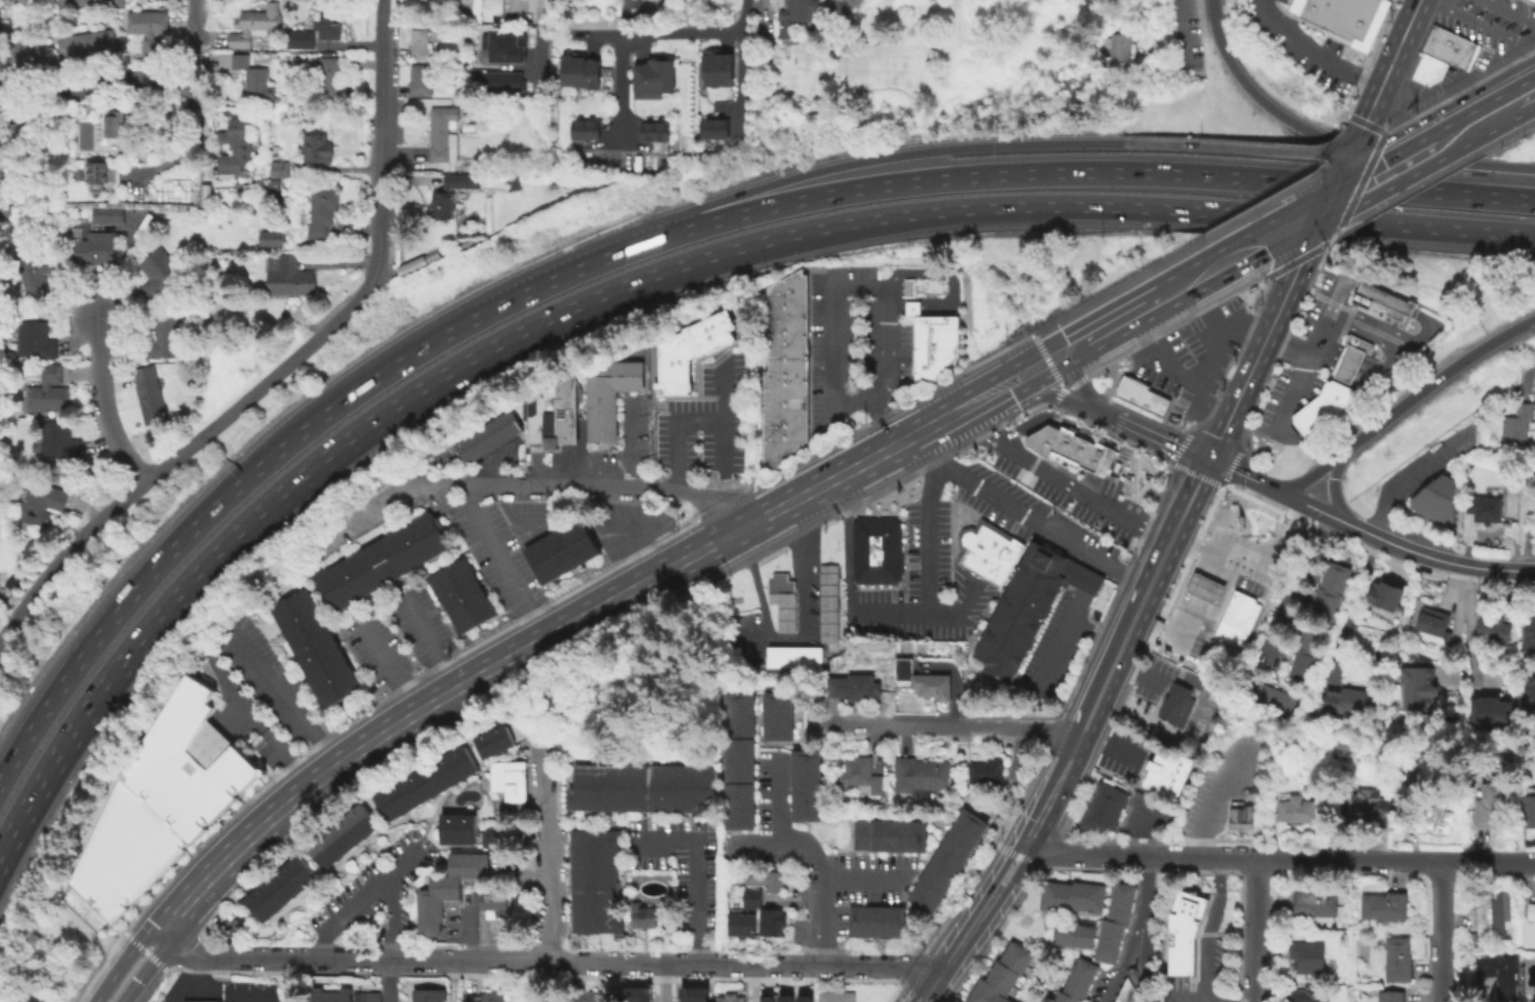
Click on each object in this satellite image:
building: (19, 0)
building: (1532, 1)
building: (89, 3)
road: (1294, 6)
road: (527, 9)
building: (631, 9)
road: (1508, 12)
building: (795, 14)
building: (1345, 18)
road: (1288, 20)
building: (329, 22)
building: (253, 24)
road: (1185, 26)
building: (150, 29)
road: (1488, 29)
road: (670, 31)
building: (467, 35)
road: (542, 39)
road: (192, 40)
building: (420, 42)
building: (88, 43)
building: (303, 43)
building: (1447, 46)
building: (509, 48)
building: (1121, 48)
road: (1313, 54)
building: (27, 58)
road: (1392, 61)
building: (718, 65)
building: (1422, 67)
parking lot: (1483, 67)
building: (580, 68)
building: (466, 69)
building: (1435, 70)
building: (654, 76)
road: (739, 76)
building: (329, 79)
building: (255, 80)
building: (421, 80)
road: (127, 81)
building: (509, 83)
road: (619, 86)
road: (1525, 99)
building: (116, 124)
road: (1479, 124)
building: (586, 127)
building: (716, 127)
building: (656, 129)
building: (443, 132)
road: (380, 138)
road: (1357, 141)
road: (1334, 142)
road: (1235, 146)
building: (238, 148)
building: (319, 148)
road: (1423, 154)
road: (864, 158)
traffic signals: (1349, 158)
road: (1376, 161)
building: (282, 170)
road: (1075, 171)
building: (95, 175)
building: (556, 181)
road: (1337, 182)
building: (518, 183)
road: (1364, 186)
building: (276, 187)
building: (453, 194)
road: (1021, 206)
traffic signals: (1326, 207)
building: (325, 210)
building: (0, 211)
building: (110, 216)
building: (305, 217)
road: (1294, 225)
road: (1317, 226)
building: (272, 239)
building: (96, 247)
road: (1229, 261)
building: (419, 262)
building: (159, 271)
road: (940, 272)
road: (1243, 272)
building: (290, 276)
building: (37, 283)
road: (1348, 283)
building: (906, 286)
road: (864, 287)
road: (1176, 290)
building: (786, 299)
road: (1384, 299)
building: (1382, 300)
road: (895, 306)
road: (912, 307)
road: (1097, 319)
road: (1106, 328)
road: (1243, 329)
building: (785, 330)
road: (1389, 330)
building: (164, 336)
road: (1119, 337)
building: (35, 340)
building: (931, 341)
road: (1380, 342)
building: (785, 343)
road: (1313, 346)
building: (689, 349)
road: (1259, 353)
road: (1324, 353)
building: (1349, 356)
building: (785, 357)
road: (1346, 363)
building: (785, 371)
road: (1053, 371)
road: (1000, 374)
road: (1180, 376)
road: (1432, 383)
road: (1079, 384)
building: (782, 385)
road: (1067, 389)
building: (50, 391)
road: (1022, 392)
building: (150, 394)
building: (609, 396)
road: (1042, 397)
building: (1139, 397)
building: (782, 401)
road: (102, 404)
building: (1321, 406)
road: (1102, 409)
building: (554, 413)
road: (722, 418)
road: (981, 424)
building: (1517, 425)
road: (673, 431)
building: (779, 434)
building: (488, 436)
road: (1099, 437)
road: (1163, 437)
building: (58, 439)
road: (629, 443)
building: (1072, 451)
road: (179, 453)
road: (264, 457)
traffic signals: (1210, 460)
road: (895, 468)
road: (852, 470)
road: (1241, 475)
road: (1308, 479)
road: (1398, 481)
building: (1510, 485)
road: (591, 488)
road: (1333, 493)
road: (1081, 495)
building: (1436, 501)
building: (44, 503)
road: (1312, 507)
building: (1484, 510)
road: (371, 511)
road: (1028, 518)
road: (925, 538)
building: (573, 542)
road: (1386, 542)
road: (223, 546)
road: (636, 550)
building: (873, 552)
building: (985, 553)
building: (545, 558)
building: (381, 560)
road: (501, 564)
road: (1095, 567)
road: (1478, 569)
road: (1255, 572)
building: (1333, 577)
road: (1302, 582)
road: (1087, 583)
building: (1203, 587)
gas station: (1203, 587)
building: (1389, 594)
building: (460, 595)
building: (781, 599)
building: (1240, 603)
building: (827, 604)
building: (1323, 604)
road: (1349, 605)
building: (1025, 608)
road: (850, 613)
road: (1197, 614)
building: (1432, 624)
building: (1230, 626)
building: (1495, 631)
road: (1470, 632)
road: (796, 637)
building: (1313, 637)
building: (1529, 639)
road: (429, 643)
road: (1056, 644)
building: (315, 647)
road: (1118, 651)
building: (792, 656)
road: (385, 665)
building: (1303, 665)
road: (1137, 669)
building: (921, 679)
building: (851, 686)
building: (1416, 689)
building: (1259, 691)
road: (283, 698)
building: (1529, 698)
building: (1175, 703)
building: (1286, 703)
building: (1347, 703)
road: (426, 708)
building: (1492, 709)
building: (777, 715)
road: (256, 723)
road: (890, 725)
road: (1021, 726)
road: (1176, 733)
building: (498, 739)
road: (1107, 746)
building: (739, 759)
building: (985, 770)
building: (1165, 771)
building: (858, 773)
building: (920, 775)
building: (510, 778)
building: (425, 781)
building: (805, 784)
building: (641, 786)
road: (777, 797)
building: (163, 800)
building: (1101, 806)
building: (1366, 806)
building: (1489, 806)
road: (528, 809)
building: (1295, 809)
building: (1529, 811)
road: (1211, 817)
building: (1239, 817)
building: (1436, 817)
building: (456, 828)
road: (1141, 831)
building: (887, 834)
building: (498, 835)
building: (342, 836)
road: (1138, 855)
road: (545, 856)
road: (1394, 860)
building: (946, 861)
road: (1005, 862)
road: (823, 863)
road: (698, 867)
road: (1016, 870)
road: (862, 878)
building: (594, 880)
building: (278, 887)
building: (446, 887)
road: (1142, 887)
building: (1070, 895)
road: (358, 899)
building: (492, 902)
building: (1313, 903)
building: (755, 906)
building: (1385, 909)
building: (1501, 915)
building: (641, 916)
building: (873, 920)
building: (1113, 921)
road: (1207, 928)
building: (1182, 930)
road: (1252, 930)
building: (1529, 930)
road: (1438, 931)
building: (1071, 933)
road: (390, 938)
building: (1471, 940)
road: (958, 946)
building: (1306, 955)
road: (1121, 960)
road: (1144, 960)
road: (121, 961)
building: (1398, 962)
road: (546, 963)
road: (141, 971)
building: (1000, 974)
building: (1501, 977)
building: (1075, 981)
road: (450, 982)
road: (545, 982)
road: (663, 983)
road: (749, 984)
building: (1522, 984)
road: (194, 986)
building: (1123, 990)
road: (233, 991)
building: (1374, 992)
building: (635, 993)
building: (343, 994)
building: (692, 994)
building: (426, 995)
building: (1308, 995)
building: (484, 996)
building: (595, 996)
building: (833, 996)
building: (727, 997)
building: (765, 997)
building: (1391, 997)
building: (783, 998)
building: (803, 998)
building: (199, 1000)
road: (1183, 1001)

